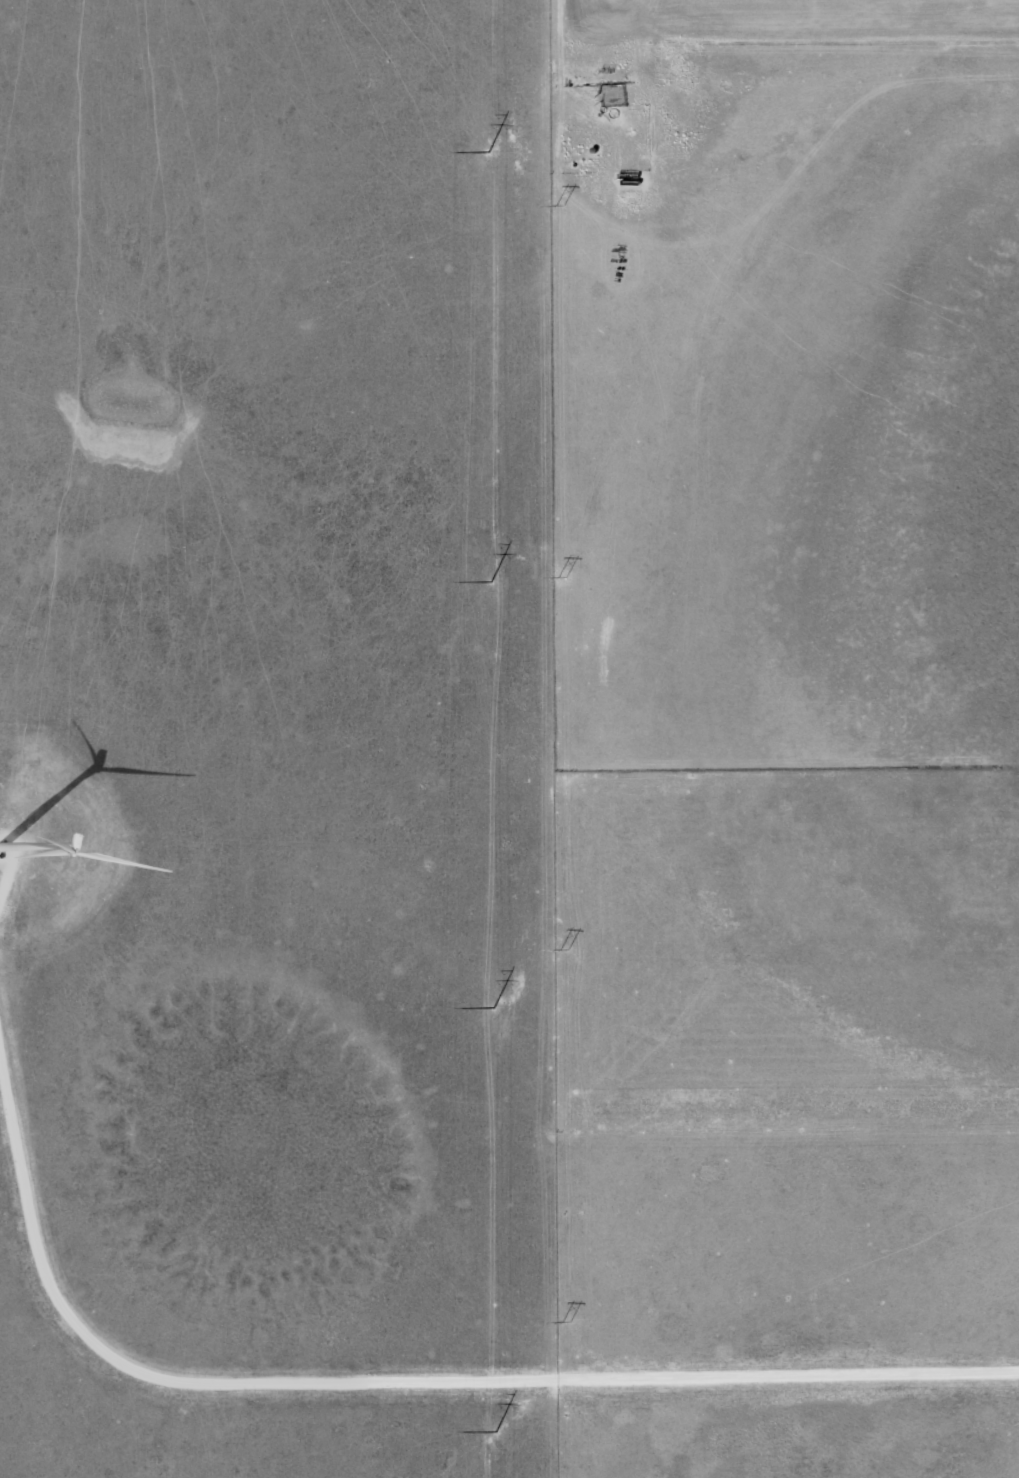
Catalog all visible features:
power tower: (485, 152)
power tower: (488, 582)
road: (8, 874)
power tower: (491, 1008)
road: (392, 1381)
power tower: (492, 1431)

